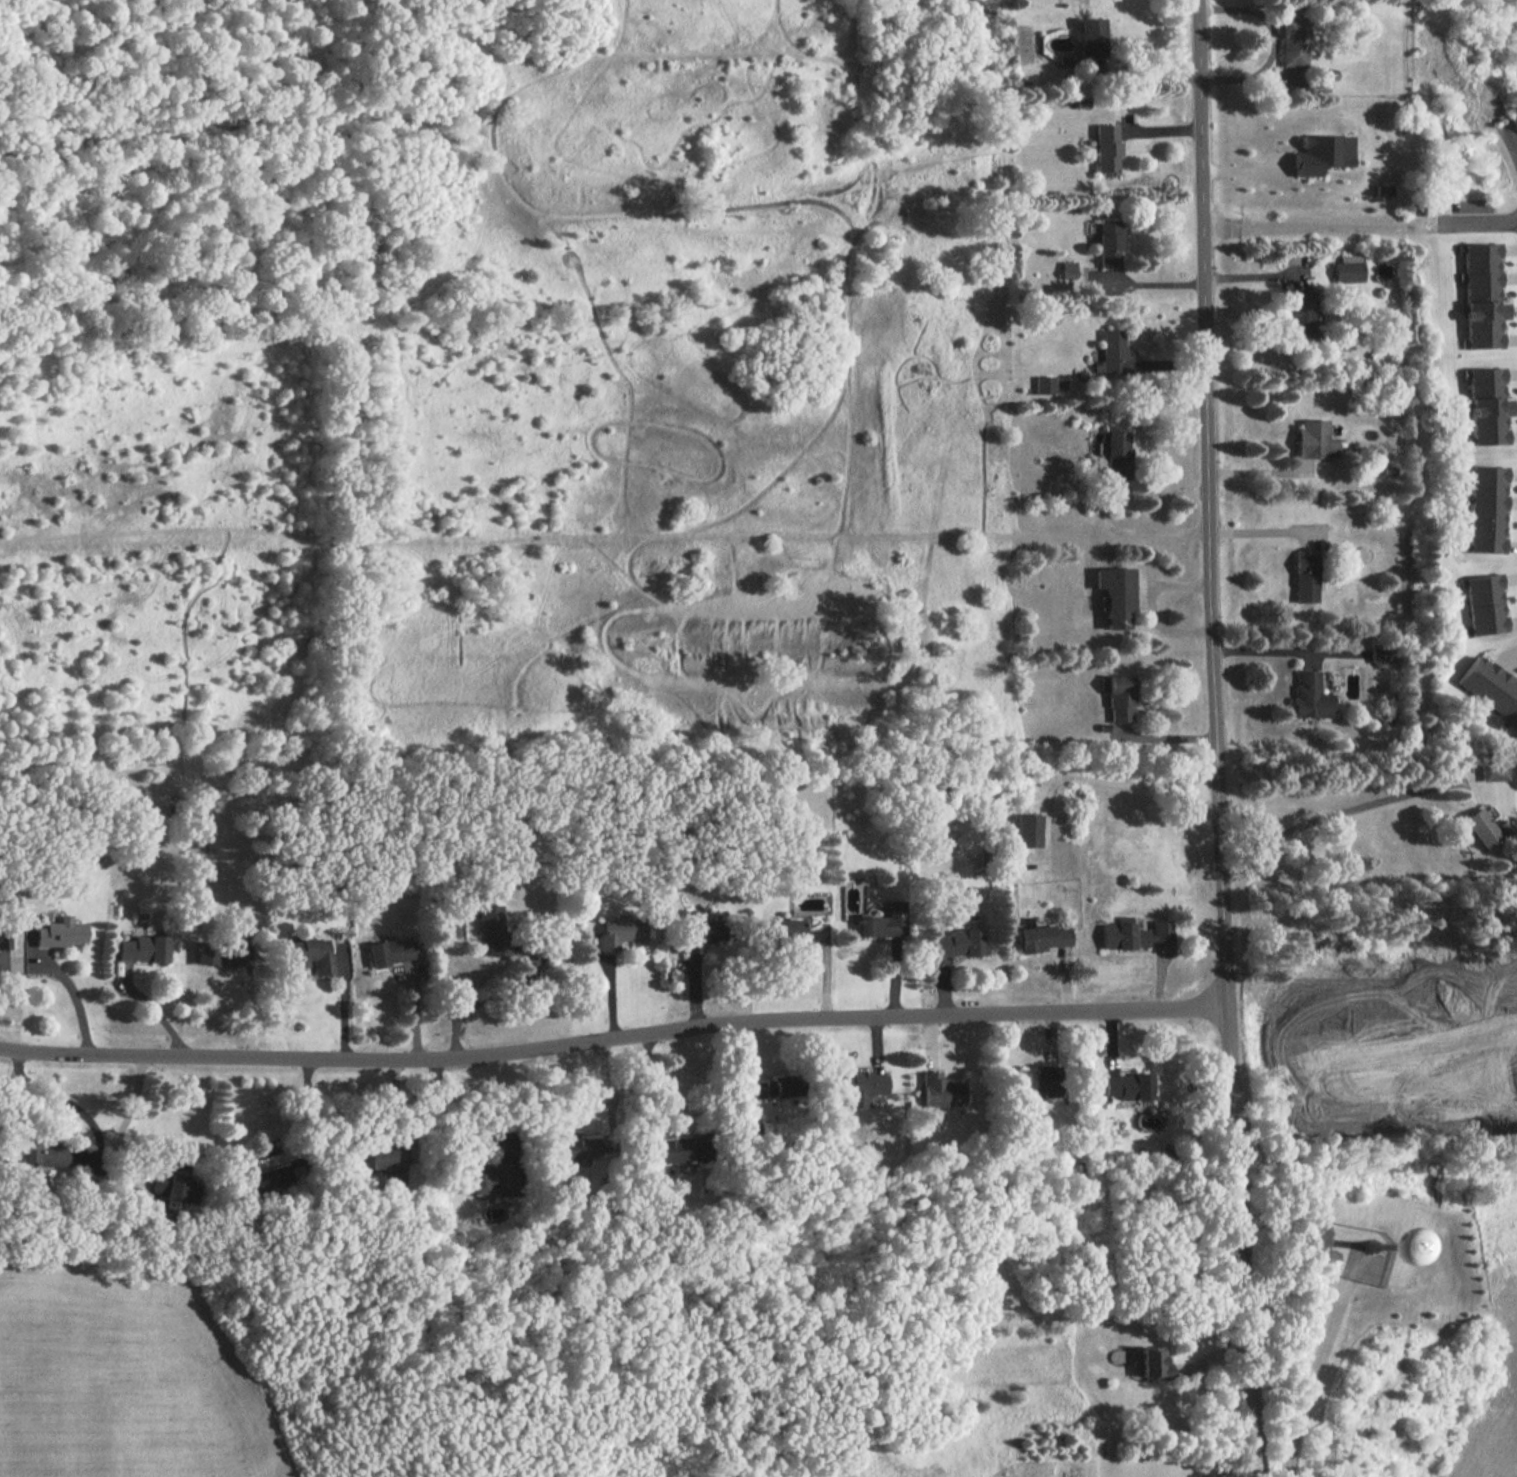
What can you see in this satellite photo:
building: (1091, 36)
building: (1291, 41)
road: (1506, 134)
building: (1106, 146)
building: (1321, 152)
road: (1479, 222)
road: (1323, 225)
building: (1109, 242)
building: (1348, 268)
building: (1067, 269)
road: (1253, 274)
road: (1152, 283)
building: (1482, 295)
building: (1299, 306)
building: (1113, 353)
building: (1044, 383)
building: (1487, 406)
building: (1314, 438)
building: (1117, 452)
road: (1258, 471)
building: (1485, 508)
road: (1106, 513)
road: (1264, 530)
road: (1211, 541)
building: (1308, 577)
building: (1116, 594)
road: (1150, 603)
building: (1485, 603)
road: (1266, 652)
building: (1491, 686)
building: (1313, 696)
building: (1120, 698)
road: (1165, 737)
building: (1494, 769)
road: (1084, 775)
road: (1343, 804)
building: (1480, 827)
building: (1027, 829)
building: (882, 921)
building: (490, 927)
building: (785, 930)
building: (61, 932)
building: (693, 932)
building: (620, 933)
building: (1132, 933)
building: (1042, 937)
building: (4, 938)
building: (958, 942)
building: (144, 948)
building: (391, 950)
building: (220, 953)
building: (310, 953)
road: (5, 965)
road: (481, 1000)
road: (80, 1001)
road: (249, 1002)
road: (344, 1005)
road: (156, 1009)
road: (611, 1034)
building: (1040, 1078)
building: (777, 1085)
building: (860, 1085)
building: (1128, 1085)
building: (941, 1090)
road: (649, 1091)
road: (65, 1101)
road: (127, 1110)
building: (748, 1120)
building: (577, 1148)
building: (43, 1153)
building: (680, 1153)
building: (383, 1154)
building: (265, 1178)
building: (487, 1178)
building: (169, 1186)
building: (1373, 1244)
water tower: (1368, 1245)
road: (1243, 1279)
building: (1152, 1362)
road: (1310, 1378)

